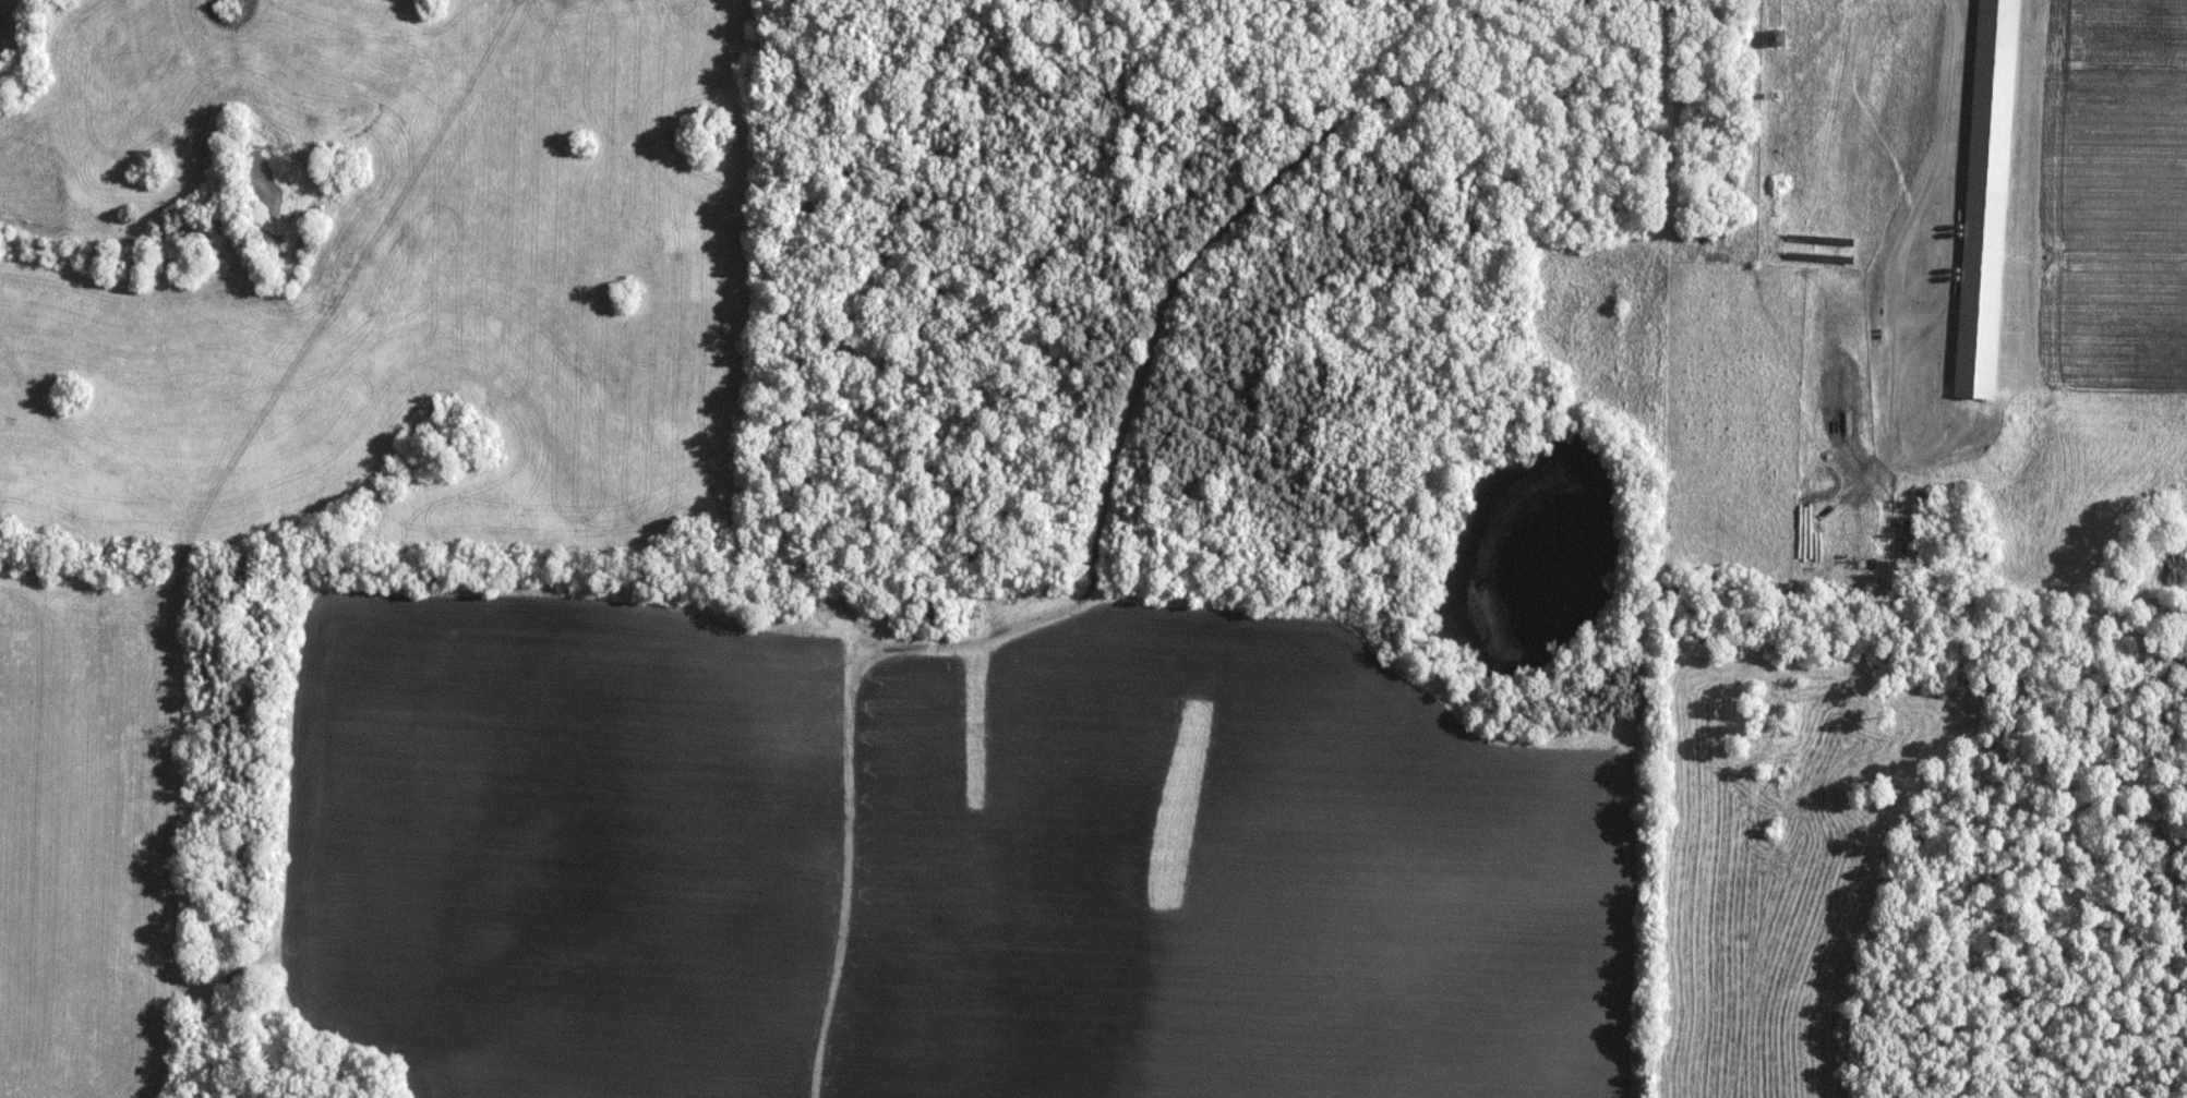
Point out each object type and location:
building: (1518, 2)
road: (1952, 73)
road: (1911, 307)

